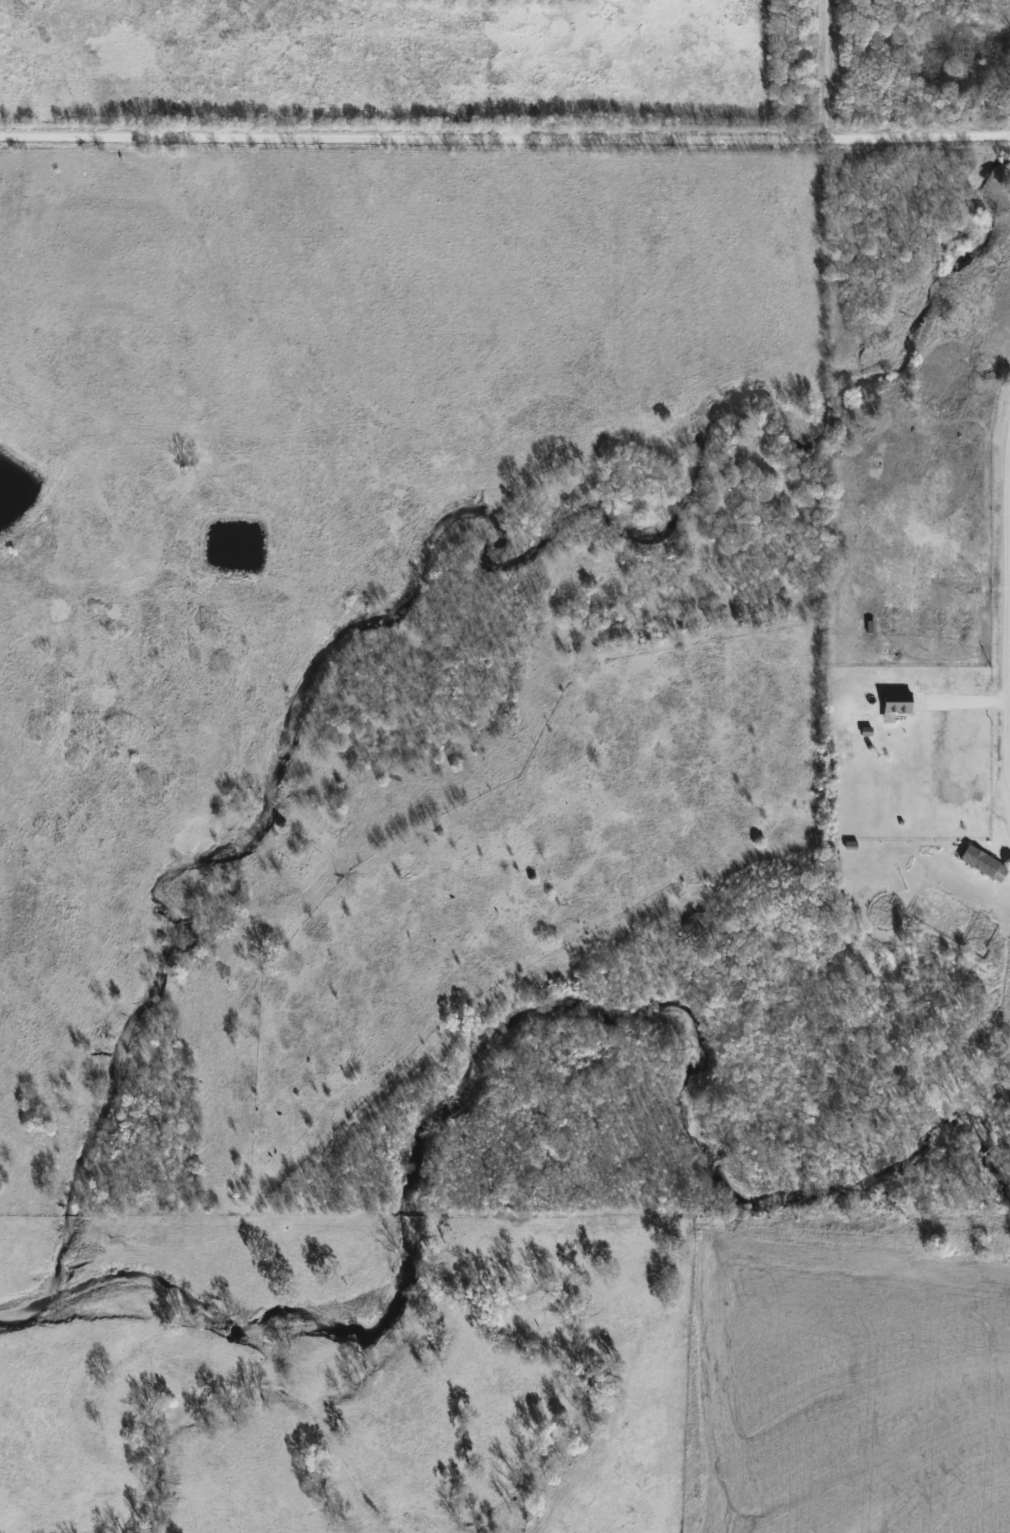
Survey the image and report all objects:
road: (505, 145)
road: (1006, 611)
road: (961, 703)
building: (896, 704)
building: (984, 864)

